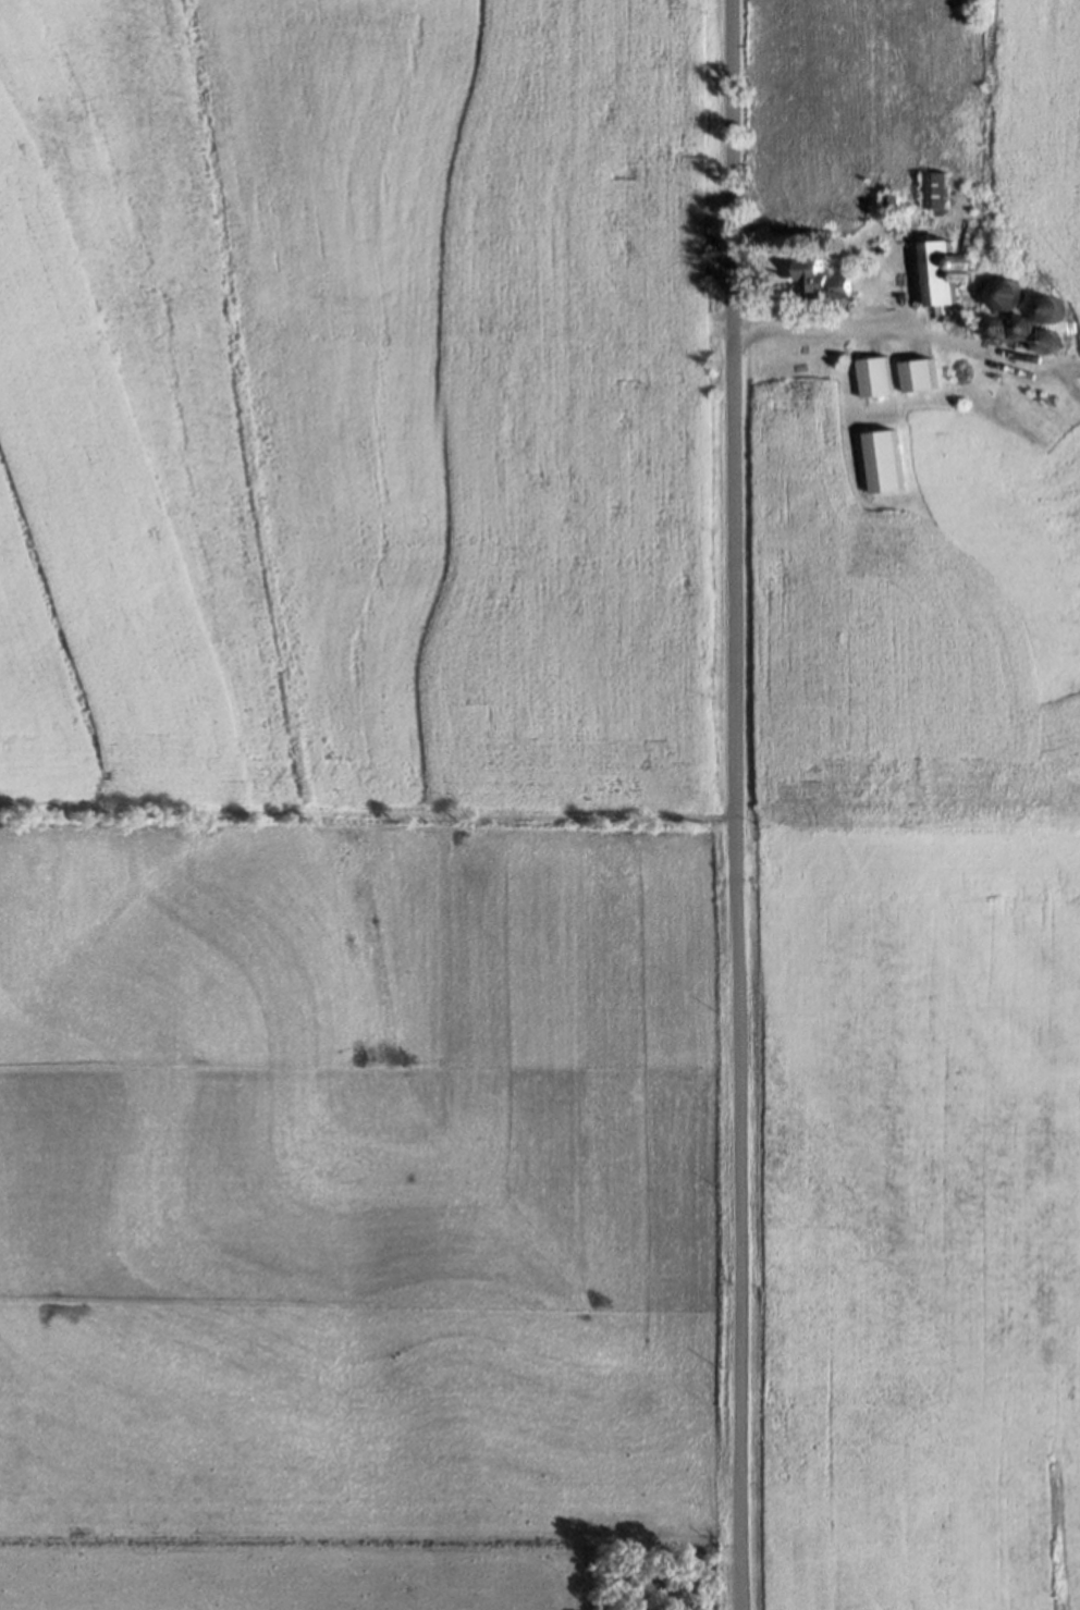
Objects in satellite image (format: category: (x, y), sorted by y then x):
building: (934, 186)
building: (895, 204)
building: (942, 266)
building: (823, 280)
road: (834, 328)
building: (917, 370)
building: (875, 372)
building: (893, 463)
road: (735, 804)

